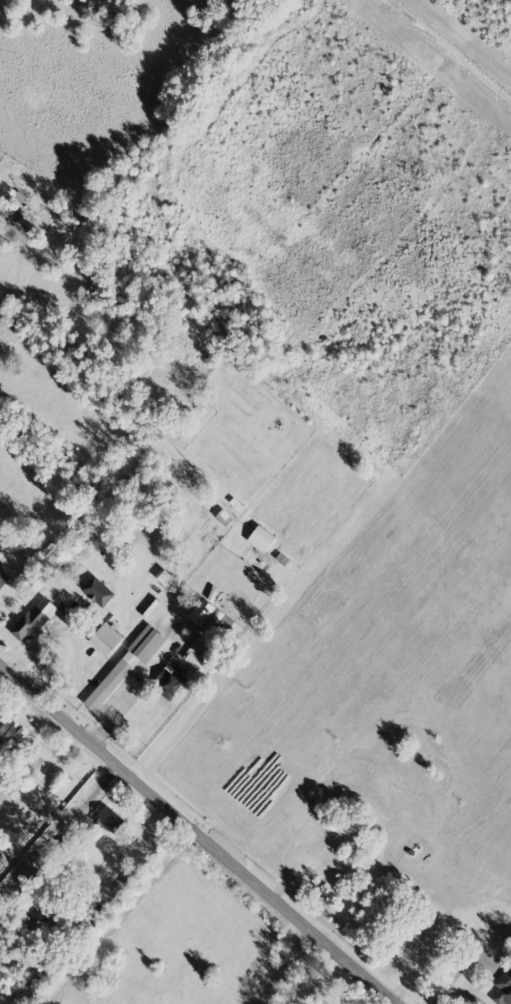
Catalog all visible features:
building: (261, 538)
building: (3, 578)
building: (97, 591)
building: (201, 611)
building: (33, 619)
road: (72, 634)
building: (105, 638)
building: (198, 653)
building: (126, 665)
building: (171, 679)
road: (136, 686)
building: (10, 733)
road: (44, 776)
building: (109, 819)
road: (198, 833)
building: (0, 852)
building: (31, 912)
road: (454, 991)

